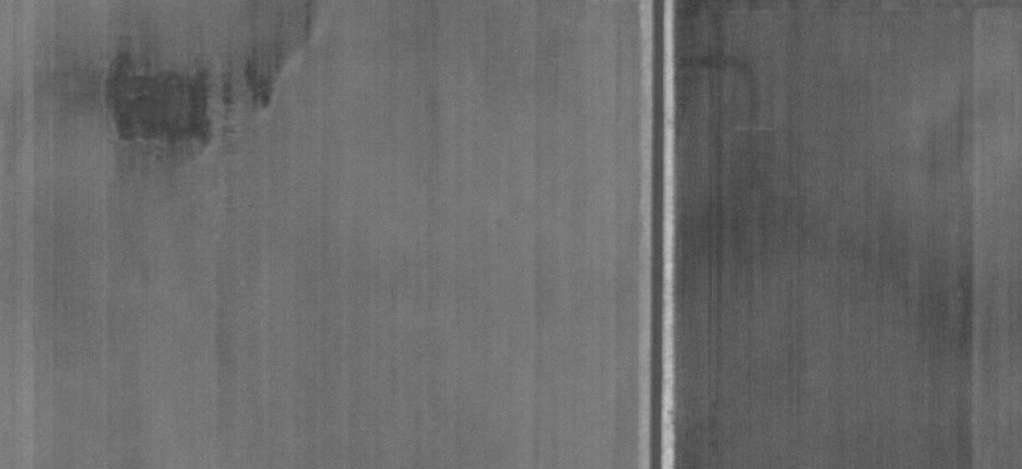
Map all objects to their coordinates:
road: (658, 234)

